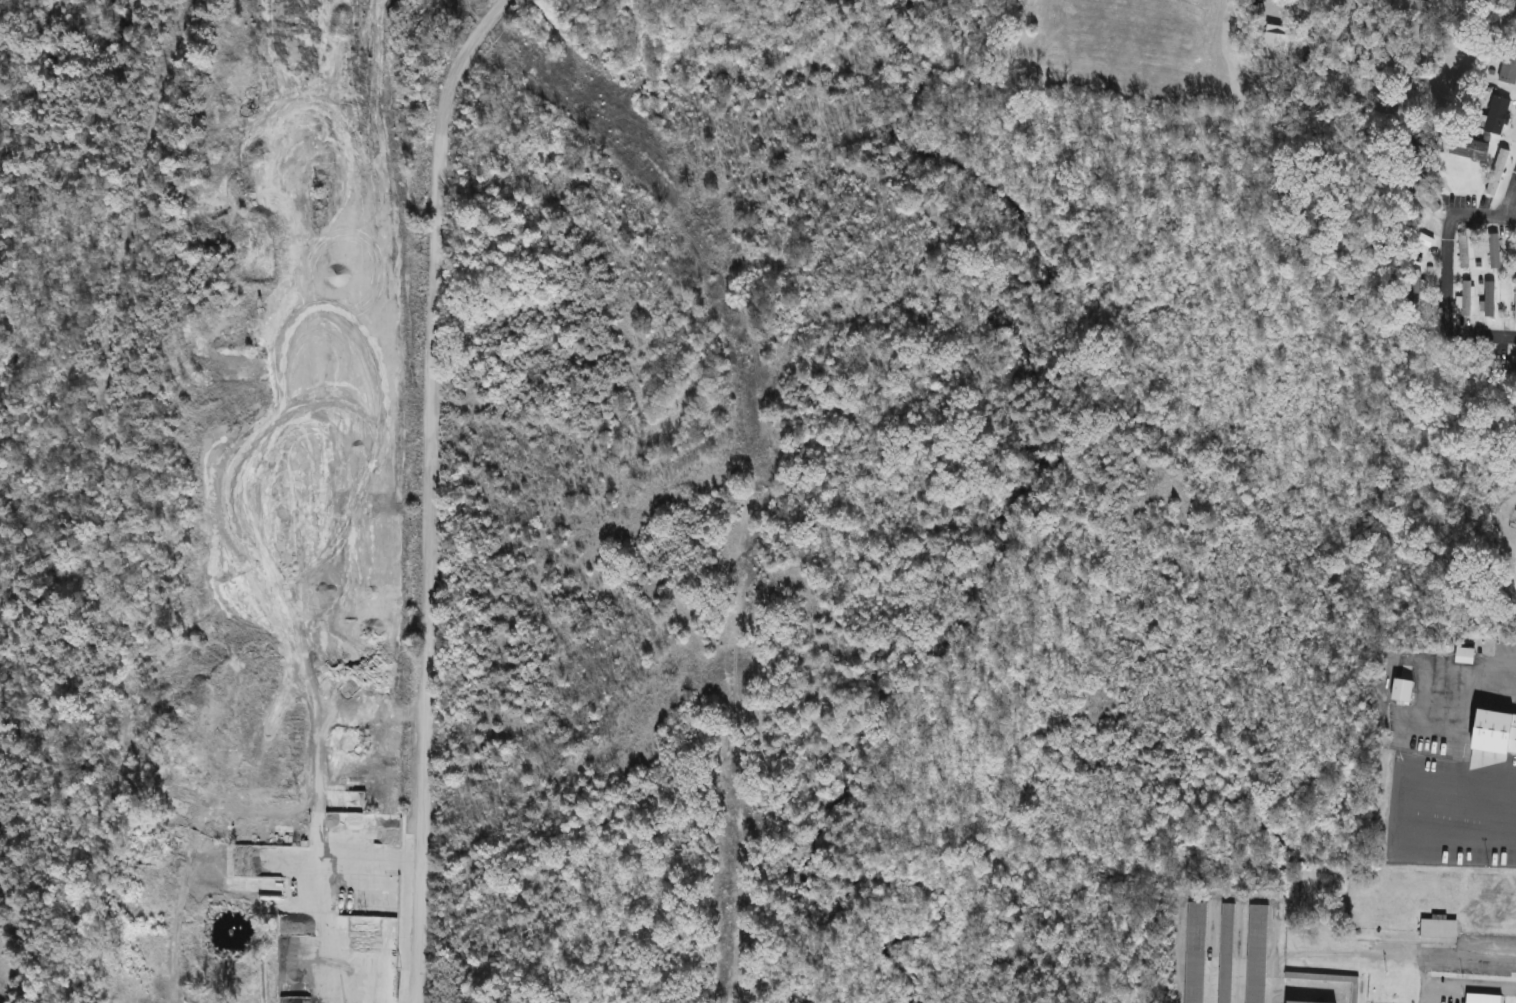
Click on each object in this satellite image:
road: (1284, 1)
building: (1406, 9)
building: (1513, 21)
building: (1273, 42)
building: (1507, 66)
building: (1495, 115)
building: (1466, 149)
building: (1495, 172)
building: (1412, 185)
road: (1510, 194)
road: (1510, 215)
building: (1413, 236)
building: (1464, 250)
building: (1492, 252)
road: (1442, 280)
building: (1414, 292)
building: (1464, 299)
building: (1487, 300)
building: (1514, 304)
building: (1510, 368)
road: (428, 492)
building: (1511, 572)
building: (1399, 690)
building: (1504, 738)
road: (1464, 740)
building: (333, 821)
building: (1436, 927)
building: (1193, 952)
building: (1223, 953)
building: (1254, 953)
road: (1373, 953)
building: (1480, 998)
building: (1297, 1002)

